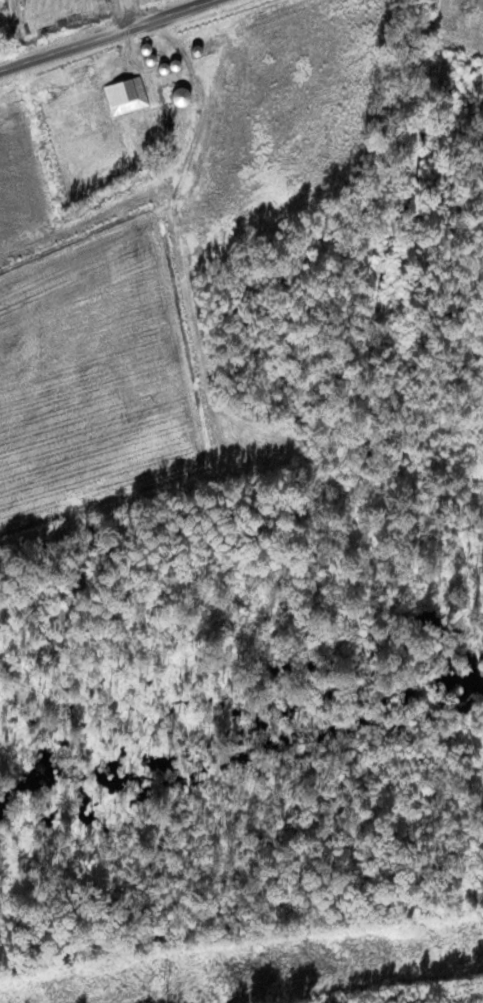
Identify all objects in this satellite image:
road: (104, 37)
building: (126, 96)
building: (181, 98)
power tower: (163, 987)

